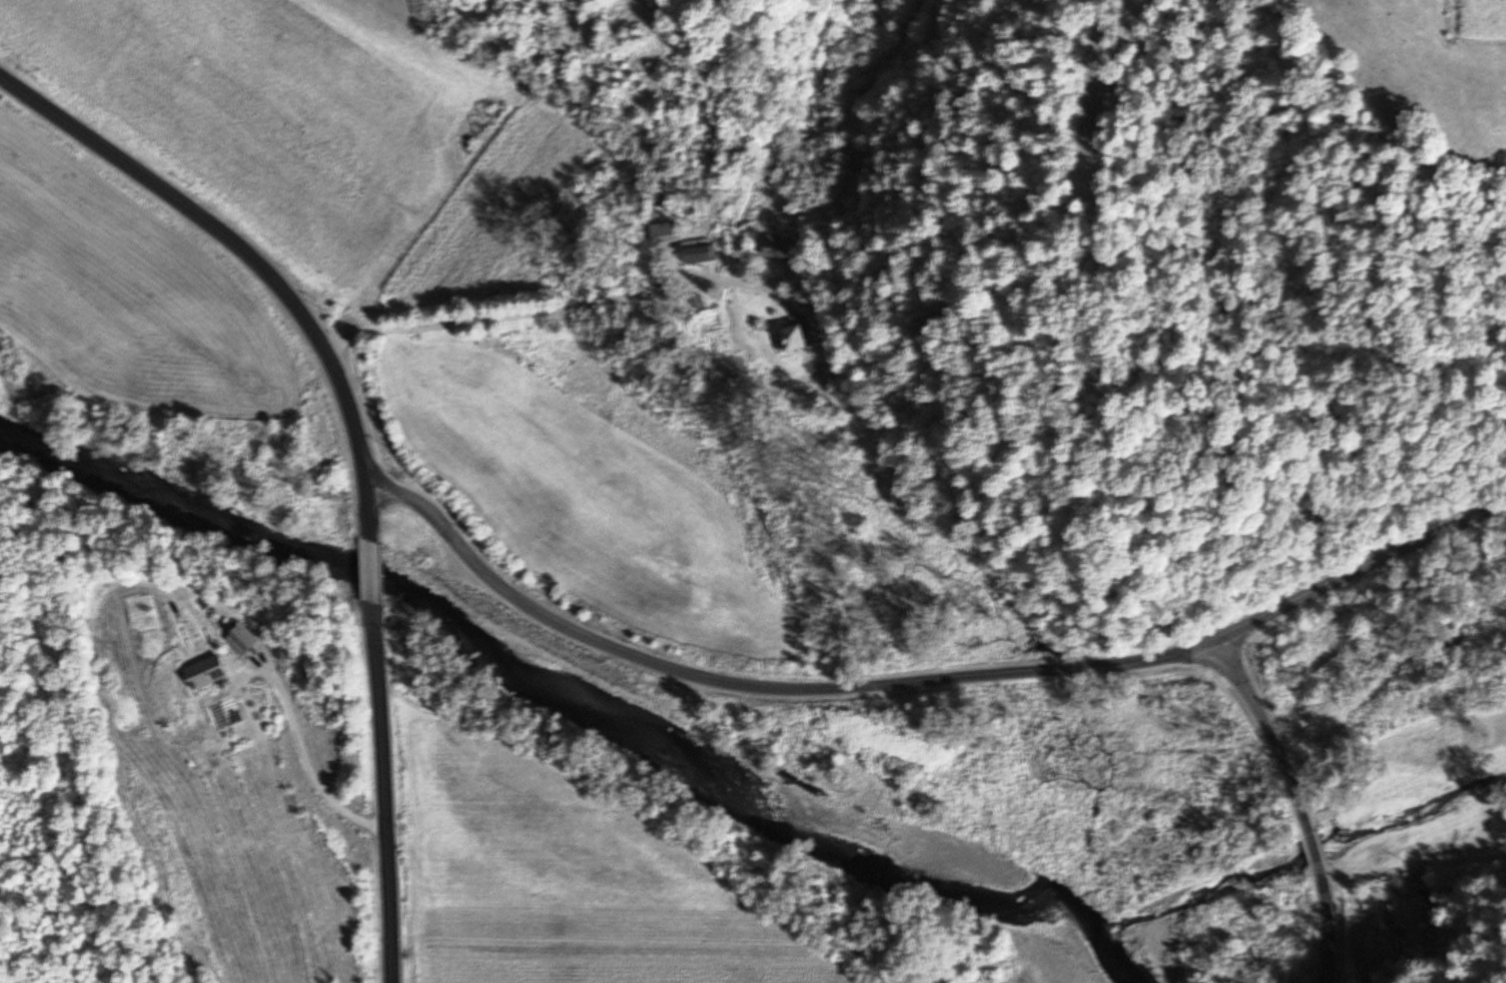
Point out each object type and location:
road: (233, 248)
road: (555, 309)
building: (789, 340)
road: (370, 518)
road: (372, 575)
building: (242, 640)
building: (203, 673)
river: (535, 675)
road: (922, 687)
road: (306, 757)
road: (382, 795)
road: (1297, 800)

